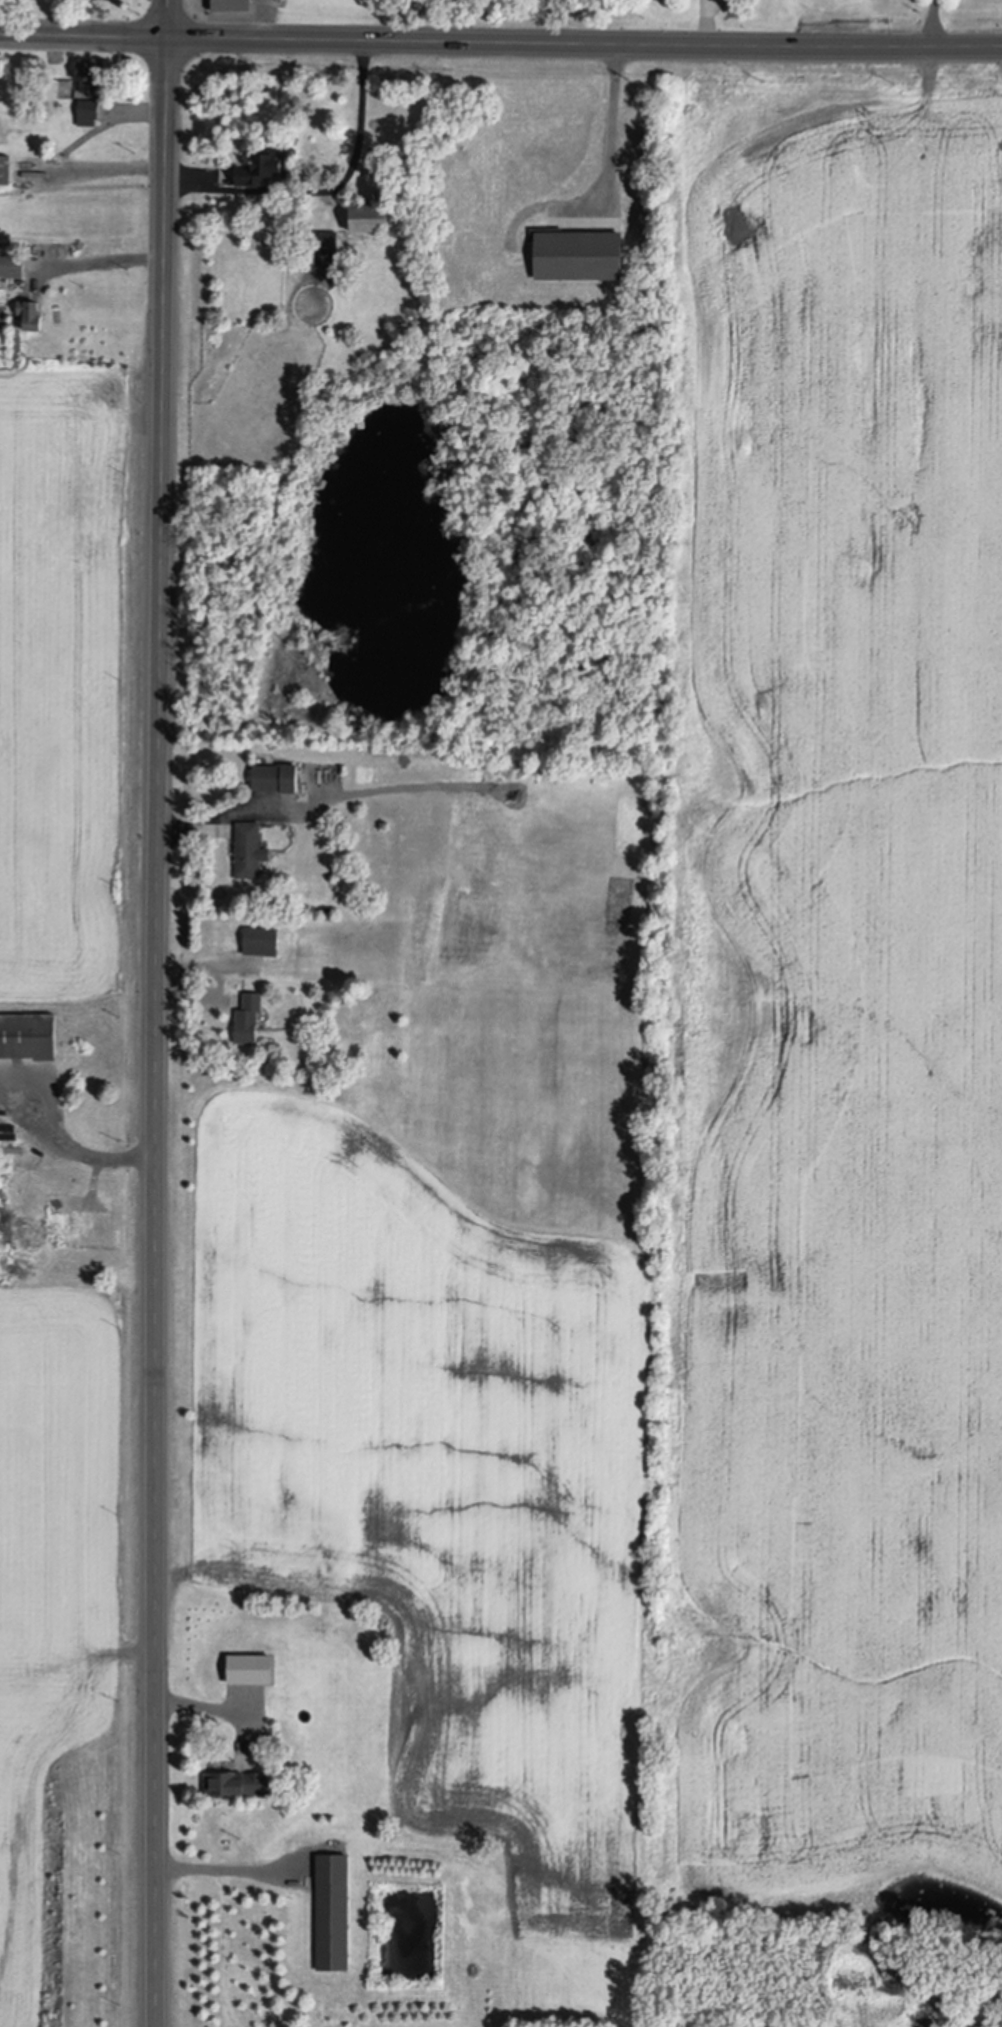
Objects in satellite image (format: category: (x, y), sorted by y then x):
building: (101, 0)
building: (230, 4)
road: (261, 17)
road: (934, 21)
road: (501, 38)
building: (88, 73)
building: (89, 106)
road: (604, 126)
building: (260, 165)
building: (5, 167)
road: (328, 185)
building: (381, 194)
building: (369, 214)
building: (318, 243)
building: (577, 251)
road: (111, 259)
building: (12, 262)
building: (30, 312)
building: (276, 776)
road: (237, 814)
building: (249, 849)
building: (261, 940)
road: (157, 1013)
building: (248, 1017)
building: (28, 1035)
crop: (837, 1041)
road: (88, 1147)
quarry: (71, 1188)
building: (58, 1220)
building: (216, 1654)
building: (237, 1669)
building: (237, 1786)
road: (233, 1869)
building: (333, 1915)
quarry: (824, 1980)

